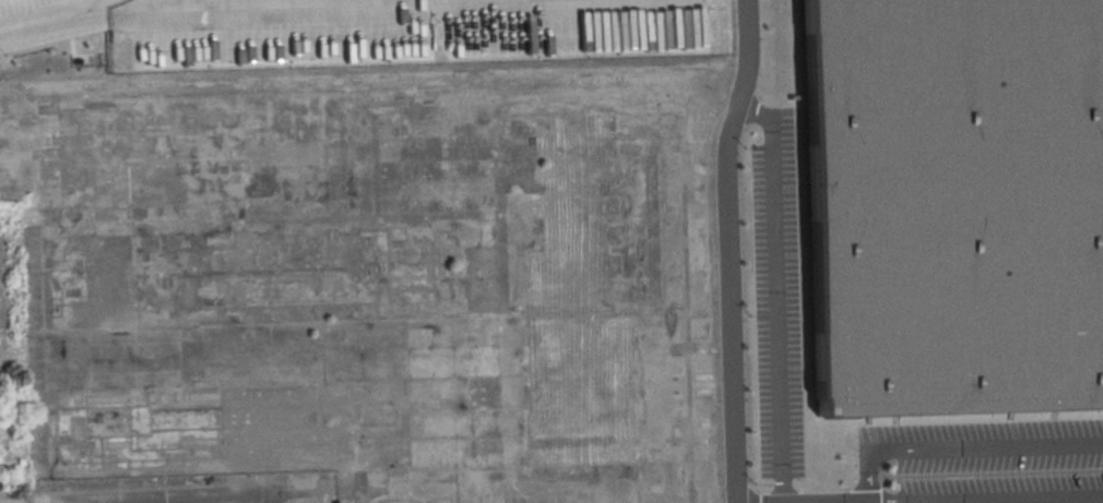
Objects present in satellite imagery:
road: (45, 19)
parking lot: (398, 29)
building: (952, 207)
road: (732, 249)
road: (779, 297)
road: (963, 454)
road: (216, 496)
road: (1081, 502)

